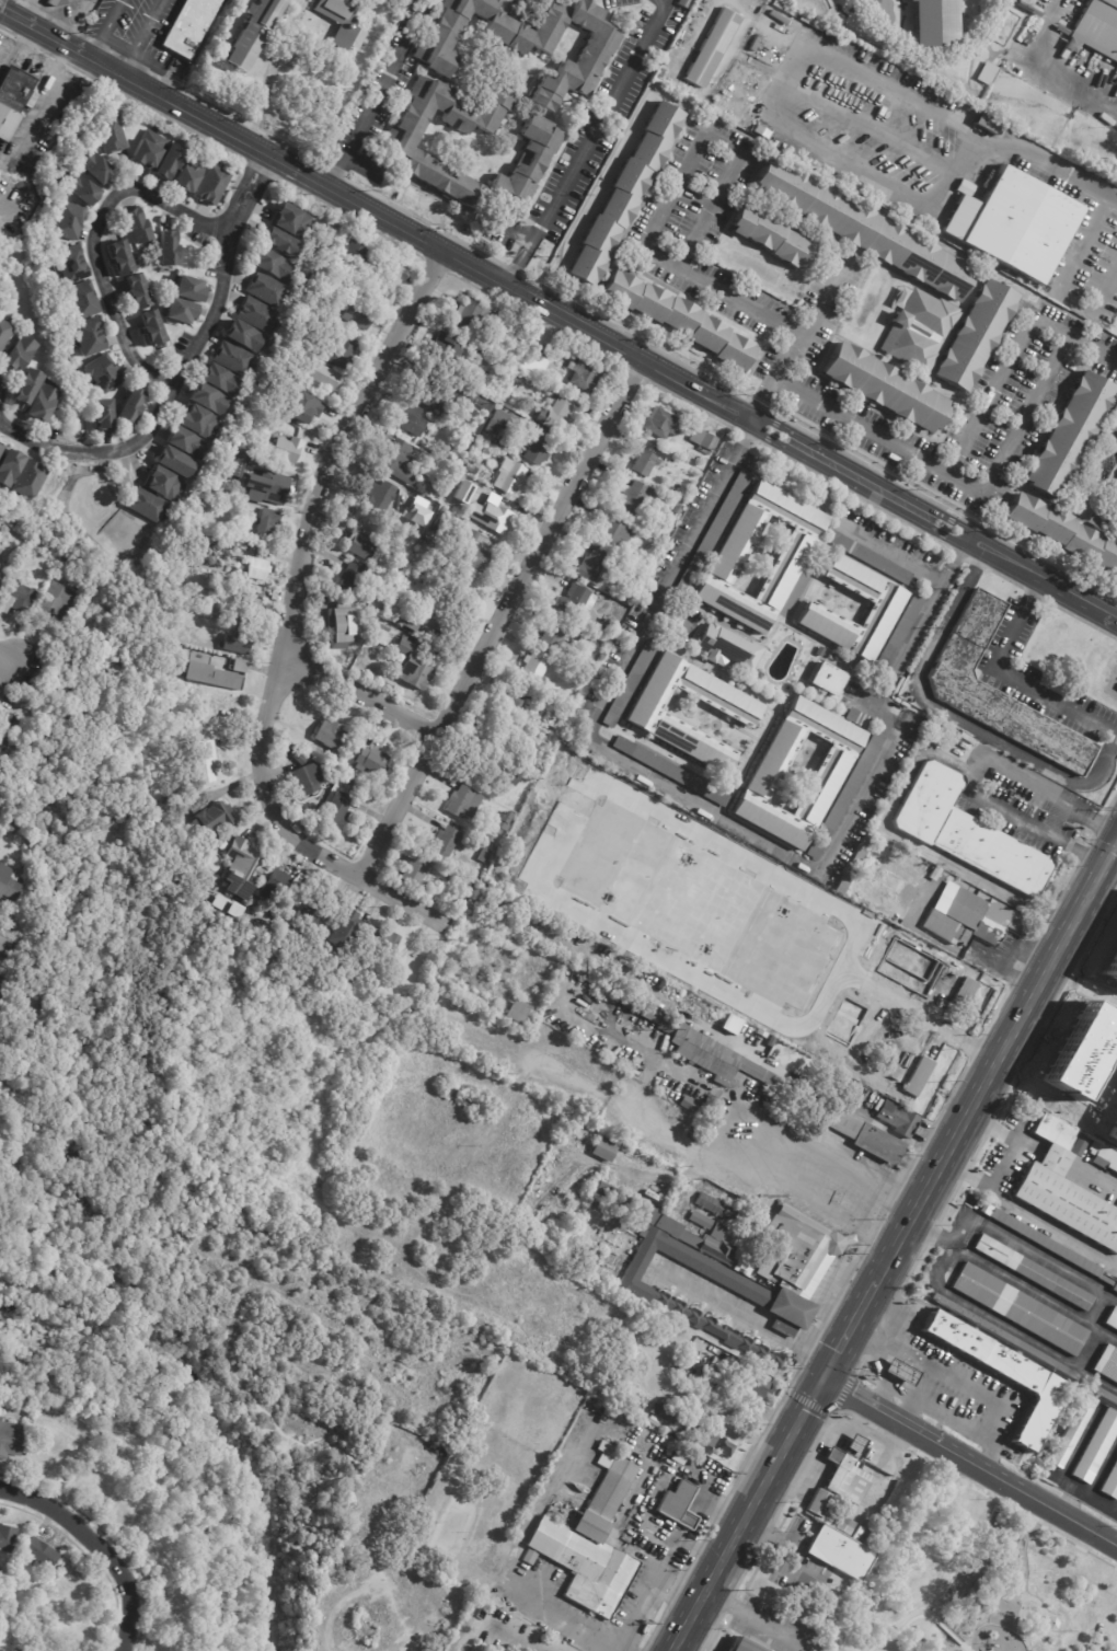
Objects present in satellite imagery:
building: (873, 0)
building: (55, 1)
building: (49, 2)
building: (683, 3)
building: (1027, 7)
building: (784, 9)
building: (933, 21)
building: (337, 22)
building: (1032, 23)
building: (811, 24)
building: (1099, 25)
building: (188, 26)
building: (1028, 28)
building: (1061, 28)
building: (251, 34)
road: (142, 37)
building: (527, 44)
building: (1070, 45)
road: (16, 47)
building: (1020, 47)
building: (711, 48)
building: (1016, 53)
building: (339, 63)
road: (1047, 66)
building: (1021, 71)
road: (389, 73)
building: (984, 73)
road: (780, 84)
road: (263, 95)
building: (12, 99)
building: (31, 101)
road: (603, 115)
road: (961, 122)
building: (988, 125)
building: (761, 132)
building: (110, 135)
building: (399, 143)
building: (147, 150)
building: (169, 161)
road: (852, 164)
building: (93, 166)
building: (13, 168)
road: (338, 168)
road: (952, 172)
road: (256, 173)
building: (188, 175)
building: (210, 186)
building: (81, 188)
building: (965, 188)
building: (866, 193)
building: (623, 196)
building: (290, 221)
building: (68, 222)
building: (1027, 224)
building: (136, 227)
building: (863, 231)
road: (648, 239)
building: (771, 239)
road: (97, 244)
building: (277, 244)
building: (209, 251)
building: (168, 252)
building: (355, 253)
road: (521, 257)
building: (120, 259)
building: (71, 265)
building: (268, 266)
road: (1063, 282)
building: (388, 284)
building: (188, 290)
building: (264, 290)
building: (137, 292)
road: (826, 298)
building: (82, 301)
building: (181, 312)
building: (253, 315)
building: (357, 315)
building: (473, 315)
road: (556, 315)
building: (678, 321)
building: (152, 330)
building: (4, 334)
building: (89, 337)
building: (242, 337)
building: (975, 337)
building: (451, 344)
building: (905, 346)
road: (1092, 346)
building: (18, 354)
building: (337, 355)
building: (232, 359)
building: (533, 365)
building: (103, 373)
building: (319, 374)
building: (583, 377)
building: (546, 378)
building: (515, 381)
building: (218, 382)
building: (554, 385)
building: (25, 386)
building: (885, 390)
road: (172, 393)
building: (445, 396)
building: (207, 401)
building: (42, 405)
building: (130, 407)
building: (298, 407)
building: (103, 415)
building: (556, 417)
building: (411, 420)
road: (1020, 420)
building: (661, 423)
building: (196, 424)
building: (1112, 425)
building: (492, 430)
building: (1070, 432)
building: (483, 437)
building: (702, 440)
building: (183, 444)
building: (534, 448)
building: (1, 449)
building: (288, 450)
building: (646, 460)
building: (172, 463)
building: (395, 463)
building: (233, 464)
building: (9, 467)
building: (444, 470)
building: (510, 481)
building: (27, 482)
building: (161, 486)
building: (269, 488)
building: (679, 489)
building: (456, 495)
building: (633, 497)
building: (379, 498)
building: (482, 503)
building: (666, 503)
building: (145, 506)
building: (677, 509)
building: (415, 511)
building: (1113, 512)
building: (392, 515)
building: (272, 519)
building: (500, 519)
building: (441, 524)
building: (417, 526)
building: (613, 530)
building: (1063, 531)
building: (712, 533)
building: (425, 541)
building: (358, 545)
building: (868, 556)
road: (895, 556)
building: (468, 558)
building: (635, 559)
building: (724, 565)
building: (594, 566)
building: (256, 570)
building: (0, 579)
building: (0, 581)
building: (349, 581)
building: (16, 600)
building: (575, 600)
building: (54, 603)
road: (934, 609)
building: (249, 610)
building: (614, 611)
building: (817, 613)
building: (431, 617)
road: (292, 620)
road: (500, 621)
building: (607, 624)
building: (341, 626)
building: (900, 631)
building: (604, 633)
building: (381, 634)
building: (553, 636)
building: (235, 644)
building: (727, 647)
building: (819, 650)
road: (4, 662)
building: (534, 663)
building: (237, 667)
building: (413, 668)
building: (758, 674)
building: (211, 679)
building: (827, 679)
road: (1013, 680)
building: (629, 684)
building: (385, 686)
building: (963, 690)
building: (207, 692)
building: (508, 697)
road: (360, 700)
building: (223, 705)
building: (647, 714)
road: (954, 716)
building: (859, 718)
building: (4, 724)
building: (329, 737)
building: (298, 759)
building: (205, 761)
building: (370, 761)
building: (470, 763)
building: (770, 769)
building: (670, 771)
building: (334, 775)
road: (648, 775)
building: (509, 776)
building: (304, 780)
building: (347, 782)
road: (902, 785)
building: (180, 795)
building: (847, 796)
building: (462, 803)
building: (336, 811)
building: (207, 816)
road: (1025, 820)
building: (505, 822)
building: (10, 829)
building: (965, 832)
building: (490, 838)
building: (445, 841)
building: (854, 864)
building: (241, 867)
building: (415, 870)
building: (882, 876)
building: (8, 884)
building: (275, 885)
building: (231, 912)
building: (308, 916)
building: (975, 920)
building: (850, 924)
building: (343, 930)
building: (382, 940)
building: (831, 952)
road: (20, 956)
road: (1010, 957)
building: (486, 967)
building: (816, 983)
building: (0, 988)
building: (965, 992)
building: (20, 995)
building: (794, 1002)
building: (516, 1013)
building: (729, 1024)
building: (794, 1034)
building: (691, 1043)
road: (997, 1062)
building: (919, 1077)
building: (1073, 1077)
building: (459, 1097)
building: (698, 1107)
building: (899, 1121)
building: (1079, 1121)
road: (721, 1129)
building: (561, 1132)
building: (864, 1136)
building: (1079, 1144)
building: (604, 1150)
building: (1102, 1156)
road: (1010, 1159)
building: (684, 1187)
building: (1066, 1190)
building: (716, 1208)
building: (700, 1221)
building: (668, 1225)
road: (1052, 1226)
road: (933, 1229)
building: (1047, 1244)
road: (1033, 1251)
railway: (901, 1256)
building: (1034, 1272)
building: (796, 1284)
building: (929, 1284)
building: (1021, 1309)
road: (746, 1318)
building: (1112, 1318)
road: (1007, 1326)
road: (849, 1328)
building: (1005, 1336)
building: (736, 1362)
building: (1107, 1362)
park: (168, 1366)
building: (716, 1367)
gas station: (896, 1371)
building: (899, 1372)
building: (1003, 1373)
road: (923, 1377)
road: (963, 1377)
traffic signals: (822, 1378)
building: (710, 1382)
building: (751, 1384)
road: (901, 1387)
building: (1104, 1393)
building: (664, 1412)
building: (692, 1429)
building: (1074, 1431)
building: (10, 1440)
building: (855, 1443)
building: (722, 1445)
building: (1097, 1447)
road: (969, 1462)
building: (848, 1478)
building: (1110, 1482)
road: (1082, 1490)
road: (658, 1492)
building: (819, 1503)
building: (678, 1506)
road: (748, 1514)
building: (845, 1525)
building: (7, 1537)
building: (592, 1540)
road: (101, 1545)
building: (38, 1552)
building: (839, 1552)
building: (530, 1557)
building: (18, 1567)
building: (3, 1572)
park: (974, 1582)
road: (637, 1607)
road: (566, 1618)
road: (756, 1618)
building: (746, 1644)
building: (725, 1650)

